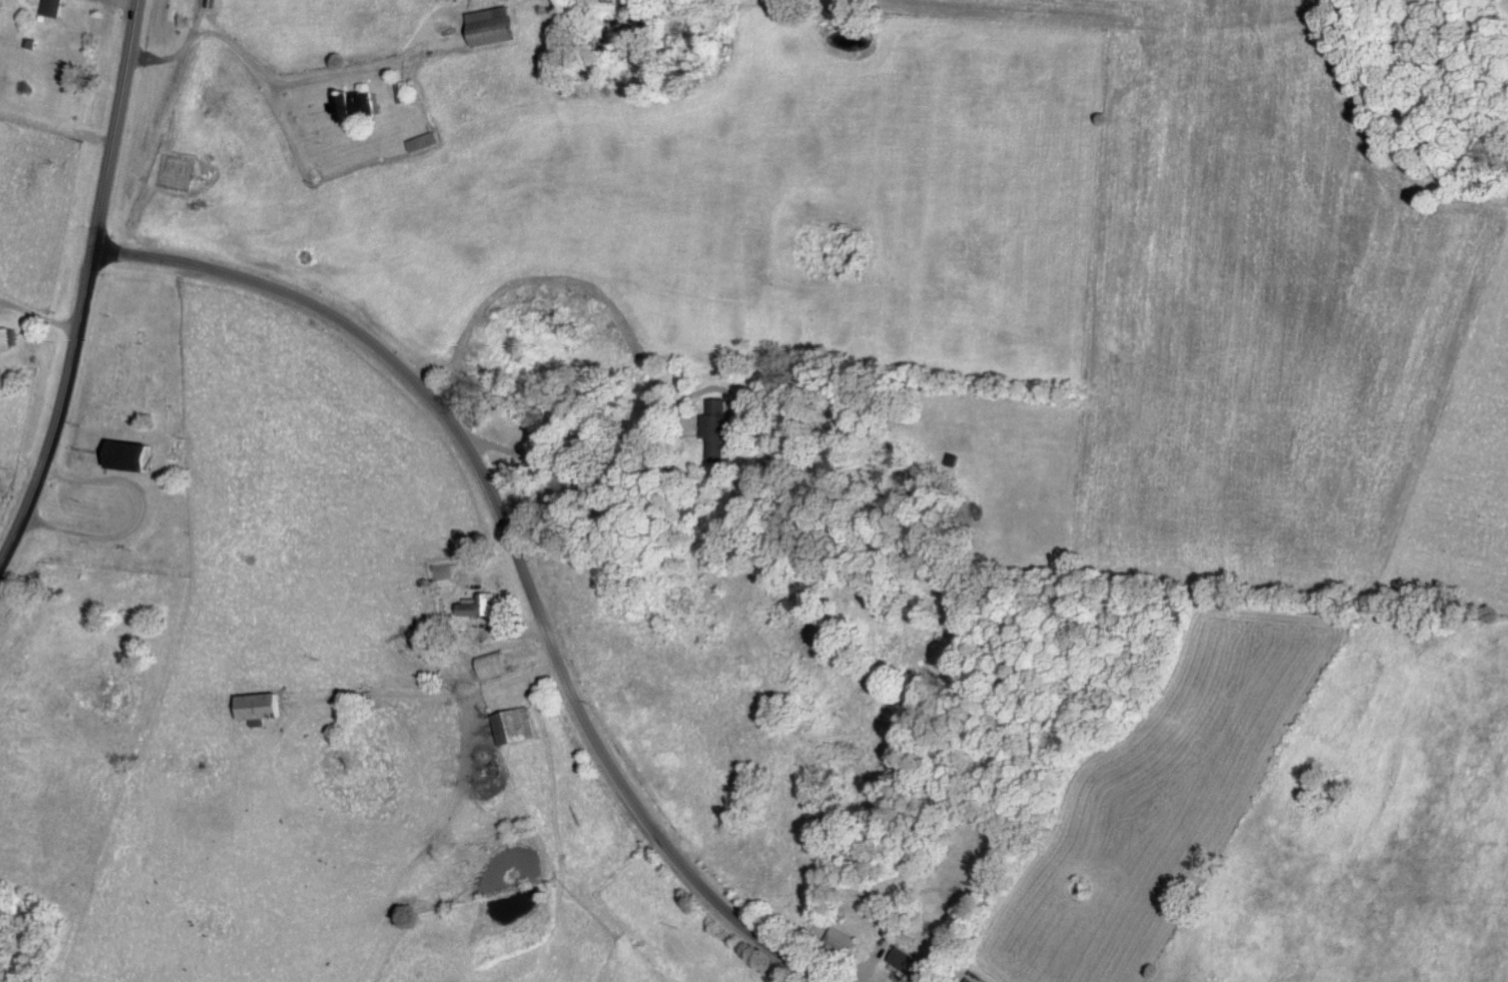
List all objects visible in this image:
building: (56, 7)
building: (487, 26)
building: (351, 103)
road: (56, 155)
road: (87, 286)
building: (7, 336)
building: (712, 424)
building: (126, 454)
road: (515, 548)
building: (477, 604)
road: (949, 661)
building: (253, 705)
building: (512, 725)
building: (901, 960)
building: (966, 980)

